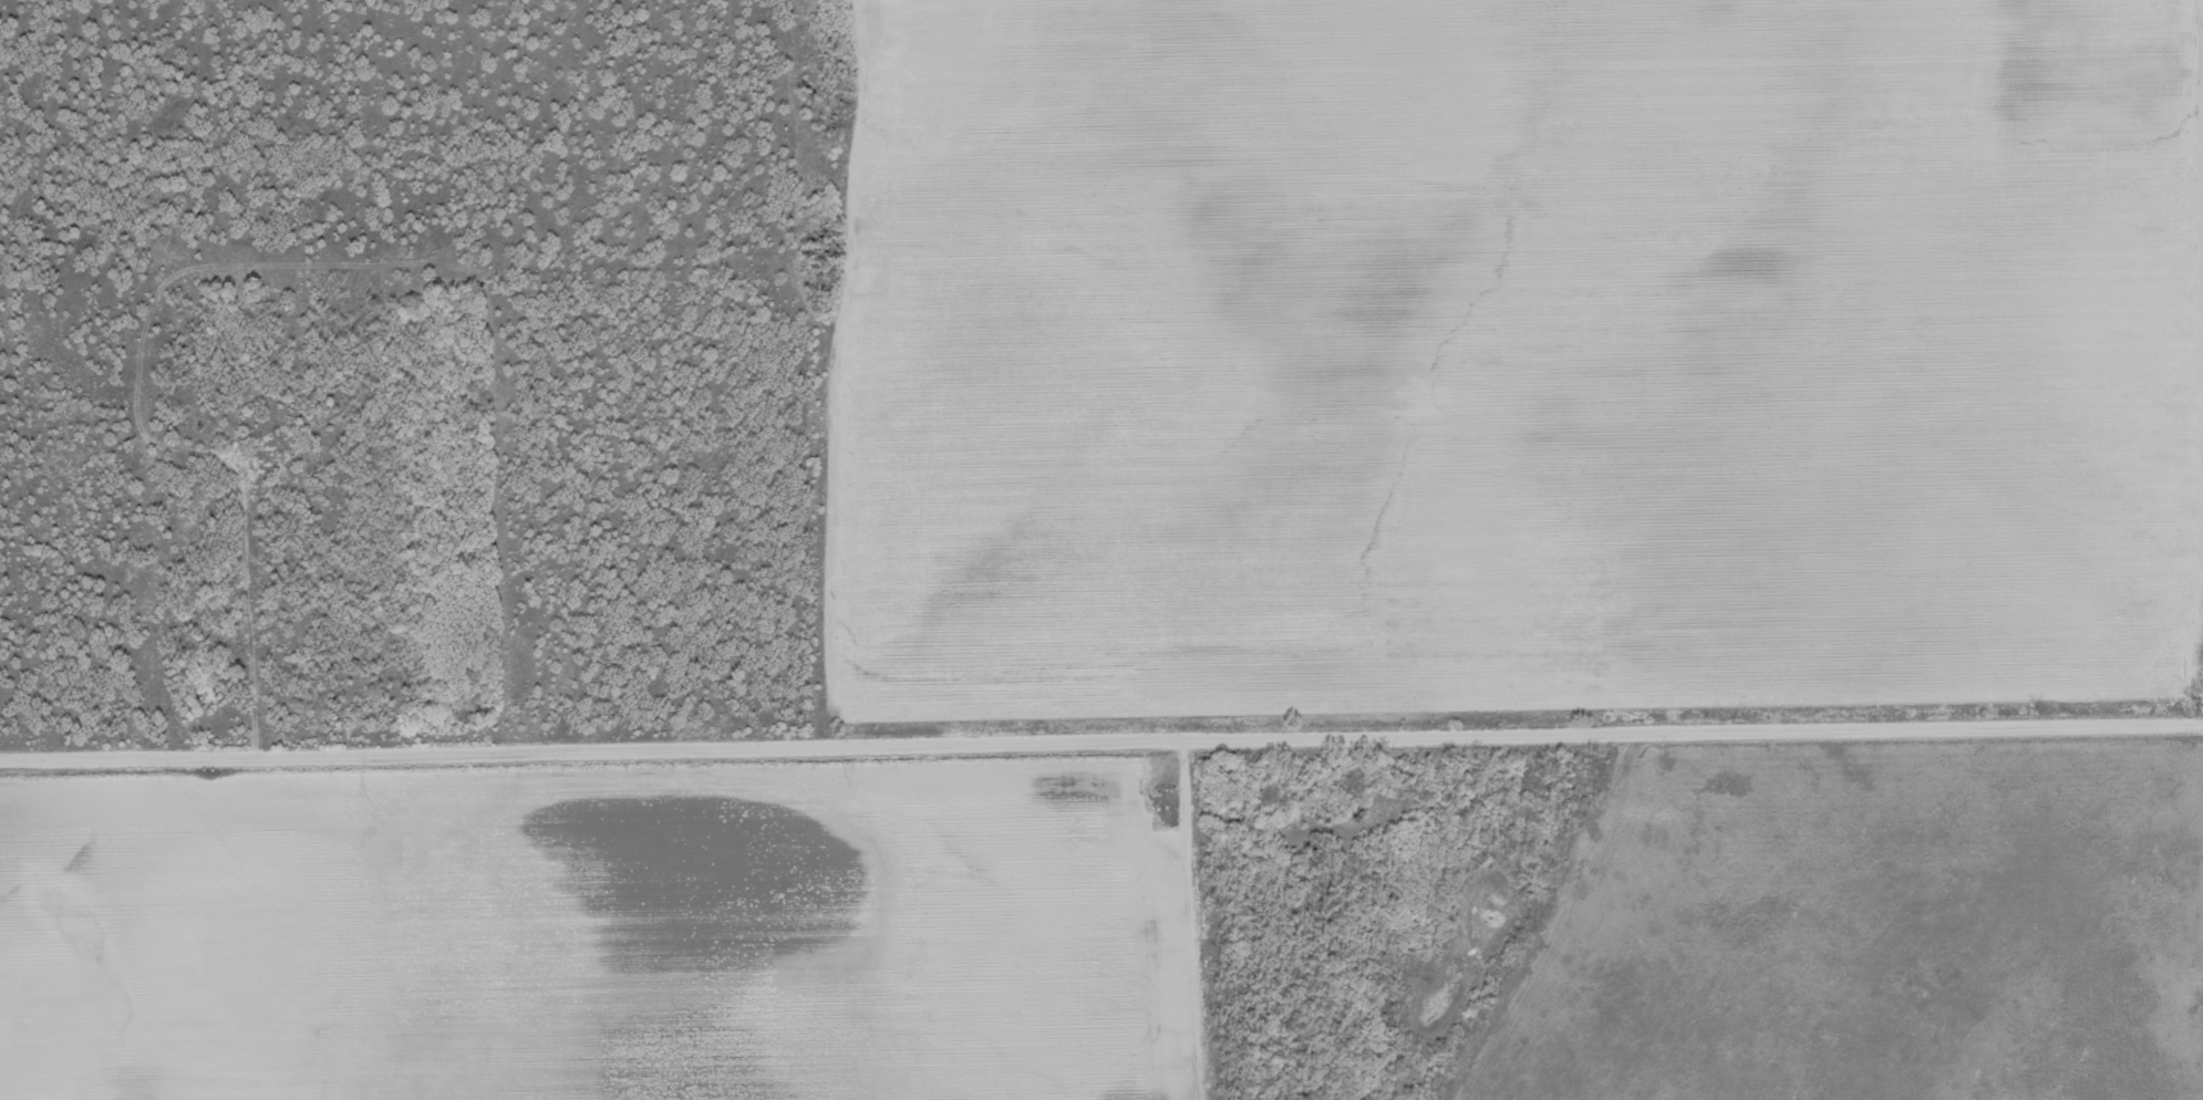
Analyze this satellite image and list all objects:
road: (1101, 747)

